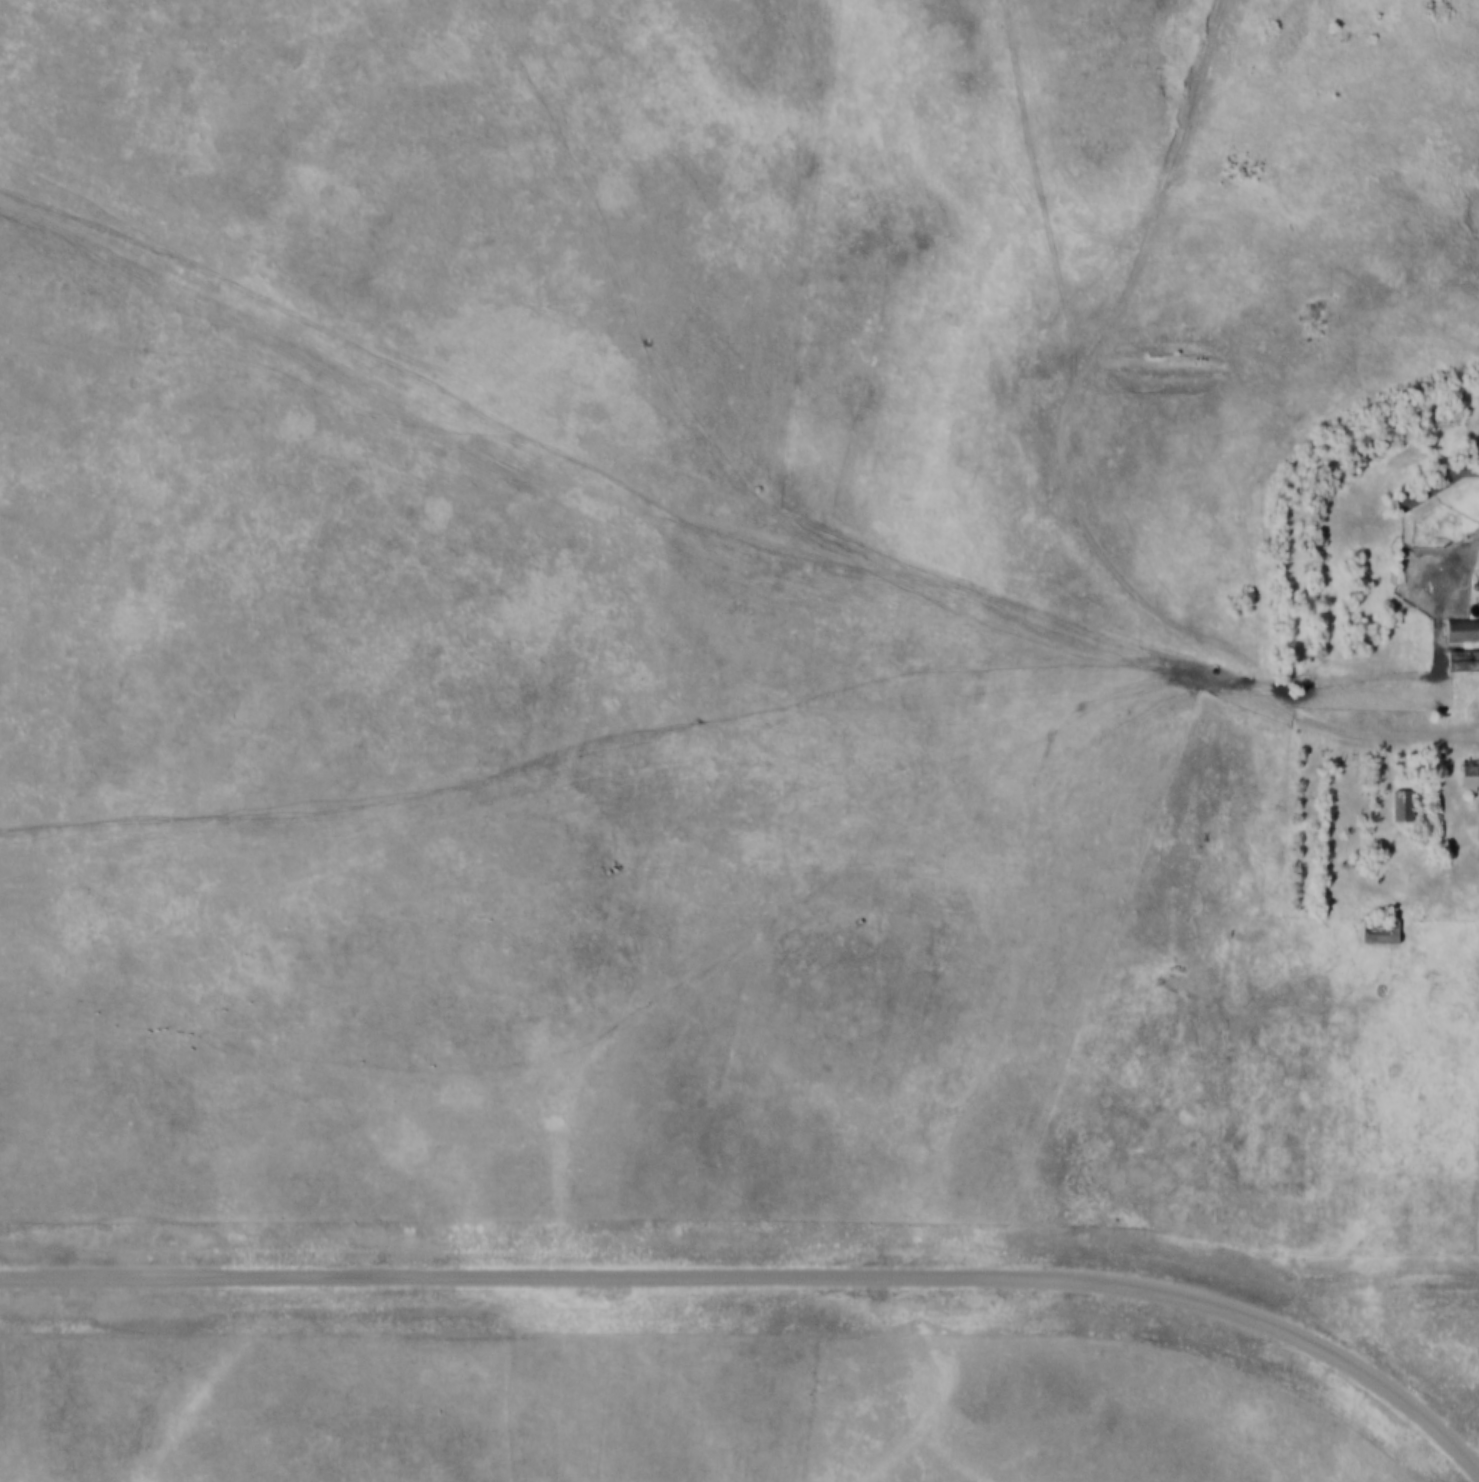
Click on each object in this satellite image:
road: (1080, 522)
building: (1464, 631)
building: (1464, 662)
building: (1472, 778)
building: (1406, 806)
building: (1385, 931)
road: (766, 1278)

